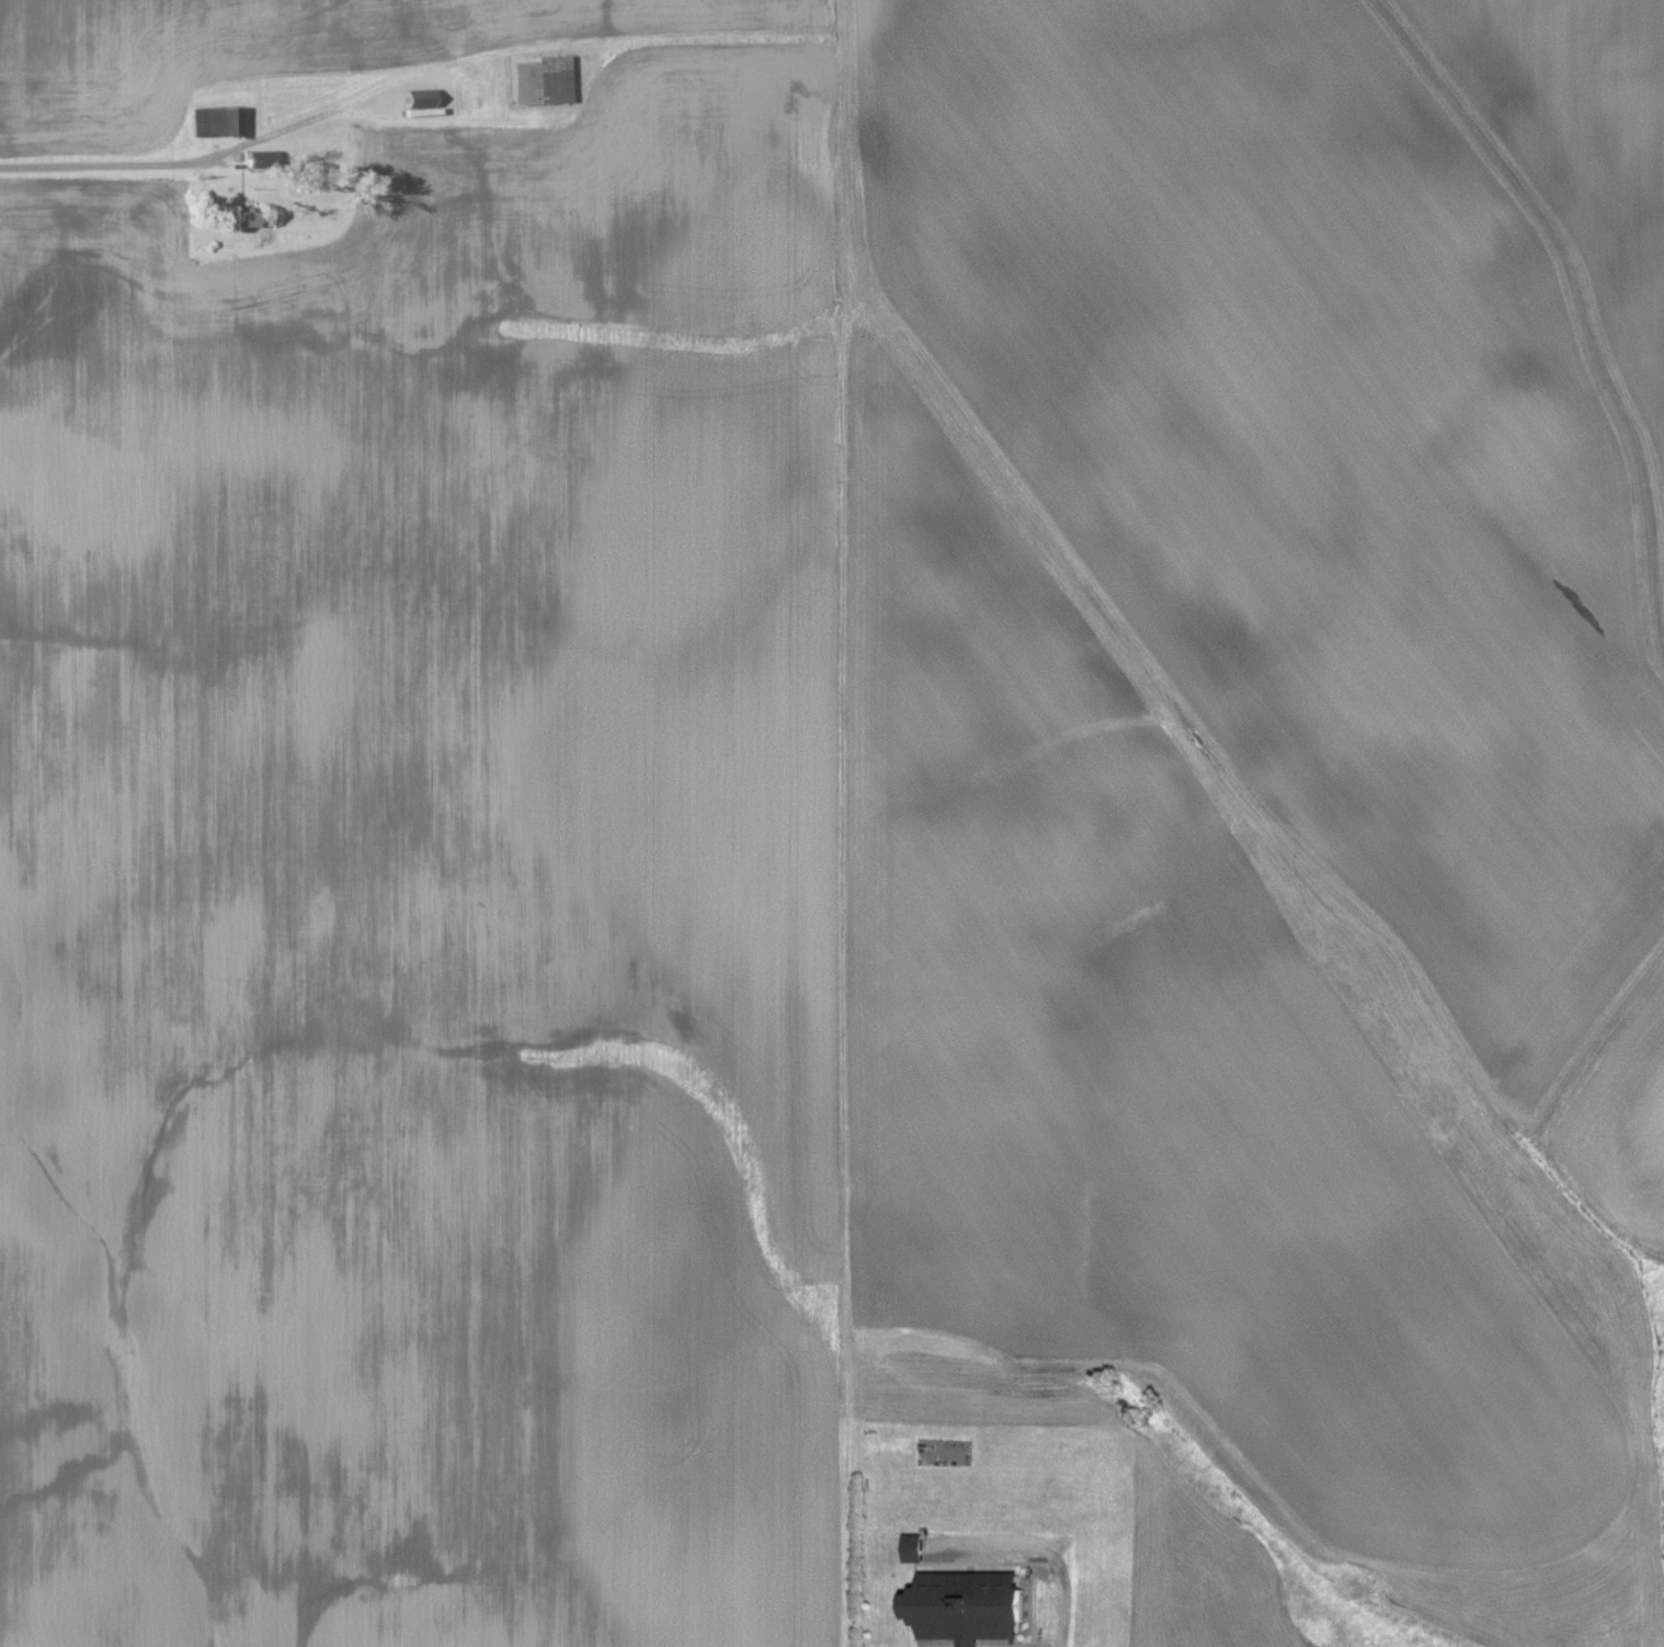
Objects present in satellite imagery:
building: (539, 82)
building: (420, 102)
building: (217, 123)
building: (238, 219)
building: (915, 1549)
building: (968, 1609)

